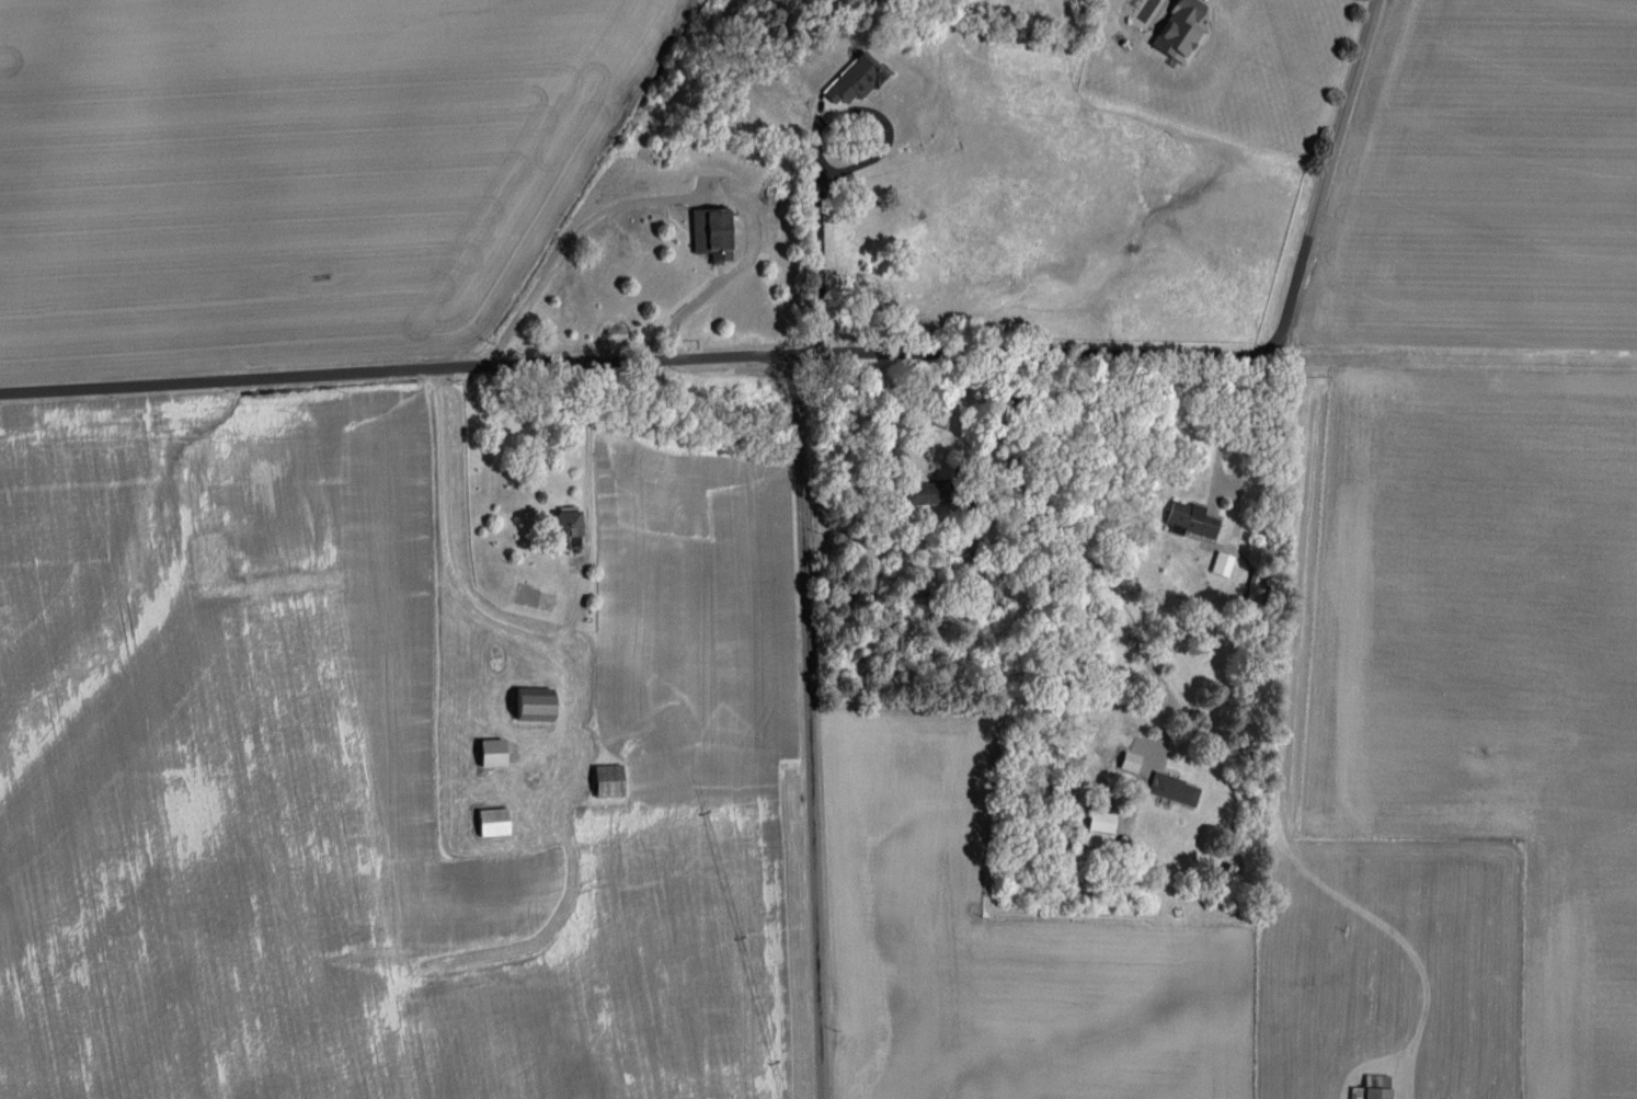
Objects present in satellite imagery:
building: (1177, 37)
building: (854, 79)
road: (817, 147)
road: (1328, 176)
building: (708, 230)
road: (634, 355)
road: (1216, 421)
building: (925, 490)
building: (1189, 517)
building: (565, 527)
road: (1075, 552)
building: (1220, 564)
road: (528, 630)
building: (530, 705)
road: (808, 724)
building: (488, 753)
building: (606, 781)
building: (1170, 788)
building: (490, 823)
building: (1100, 823)
building: (1371, 1089)

